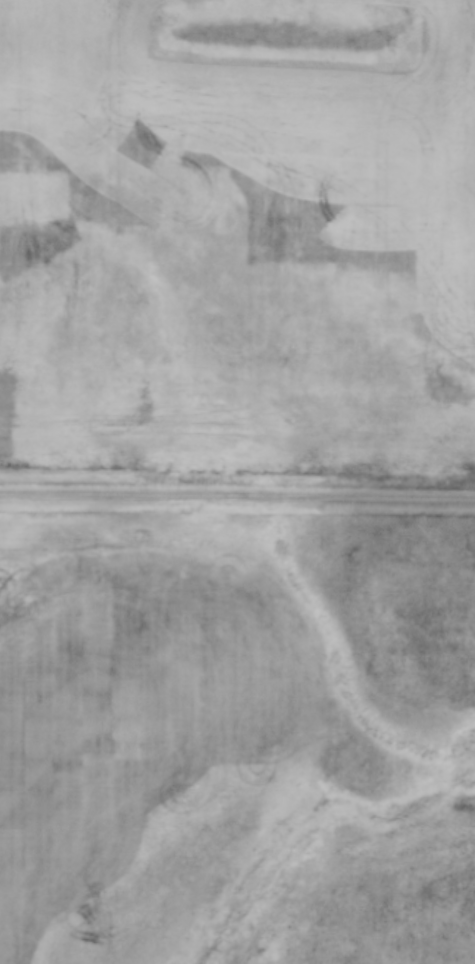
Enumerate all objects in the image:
road: (237, 498)

